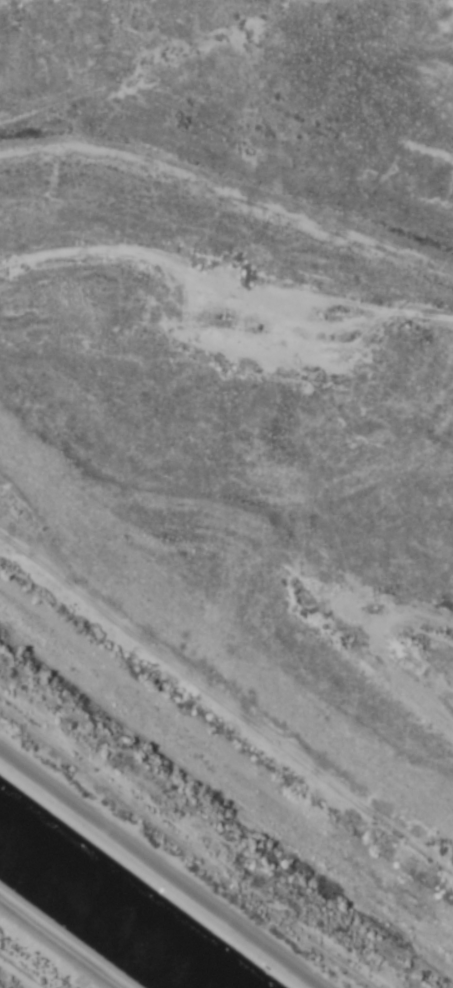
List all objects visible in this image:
road: (228, 181)
road: (355, 668)
road: (170, 859)
road: (47, 952)

